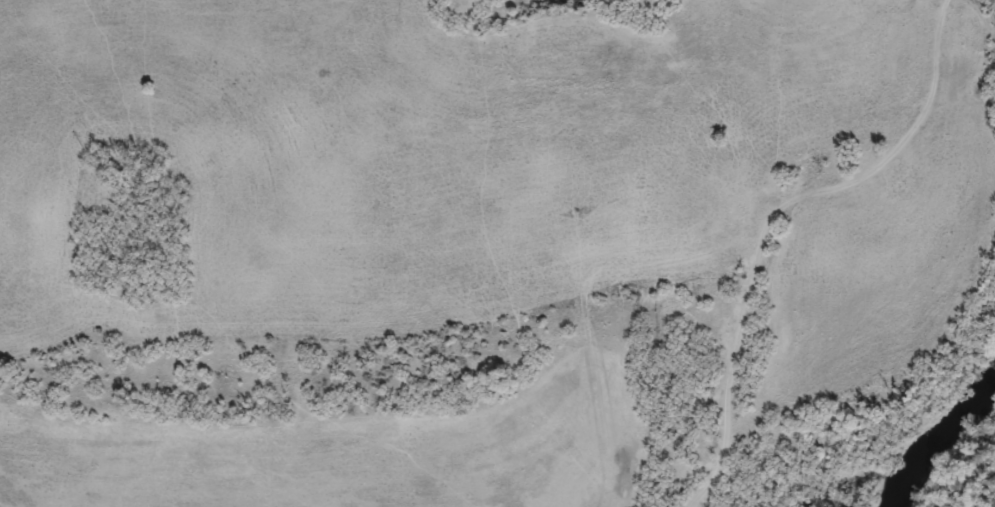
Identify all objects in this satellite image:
road: (895, 286)
river: (933, 437)

